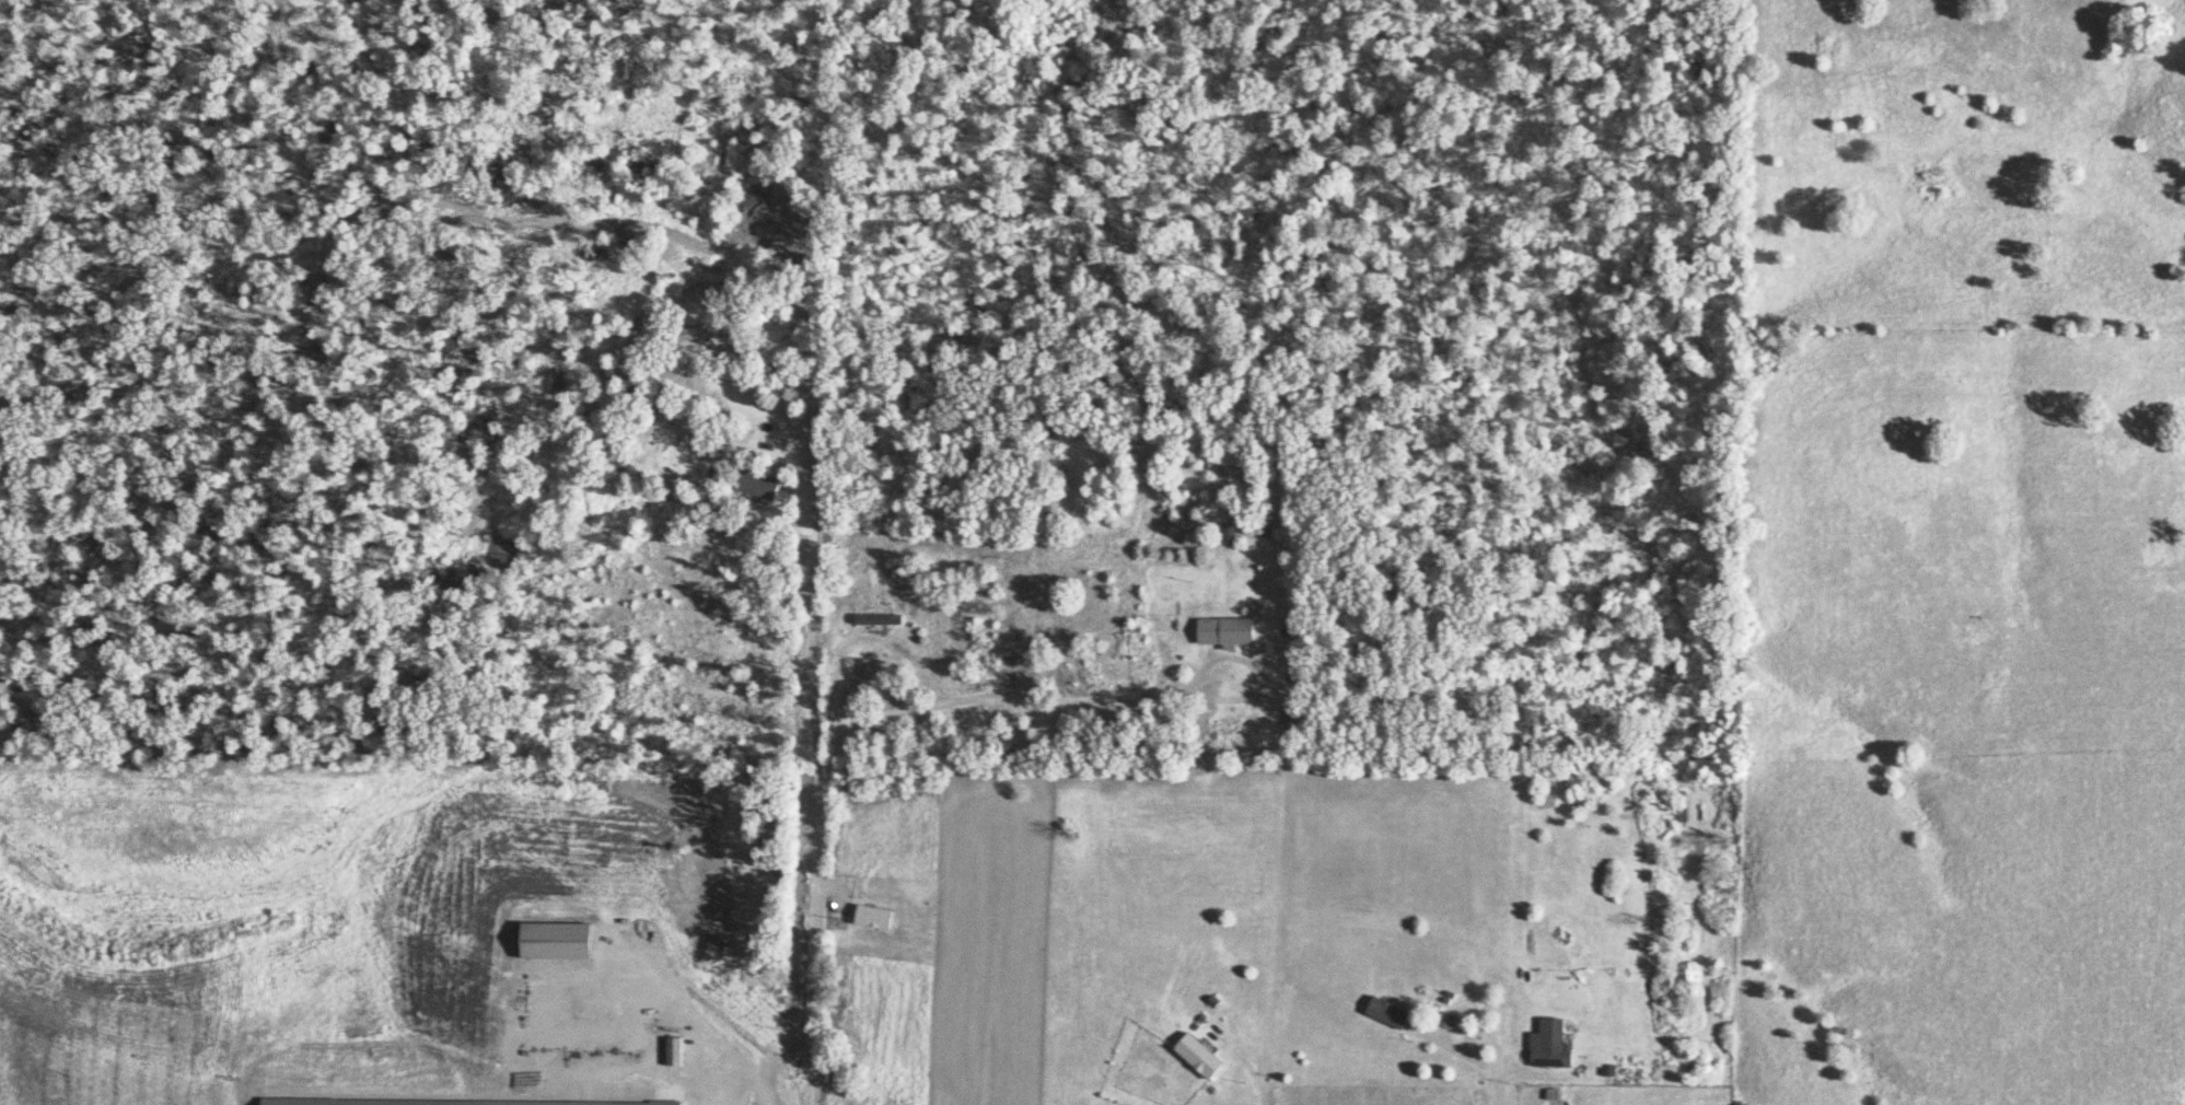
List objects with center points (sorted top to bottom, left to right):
building: (694, 333)
building: (754, 486)
building: (1227, 534)
building: (1033, 595)
building: (876, 621)
building: (1222, 632)
road: (812, 695)
road: (1009, 701)
building: (870, 919)
building: (1383, 1013)
building: (1442, 1022)
building: (1550, 1044)
road: (1465, 1056)
building: (1194, 1057)
road: (1239, 1065)

